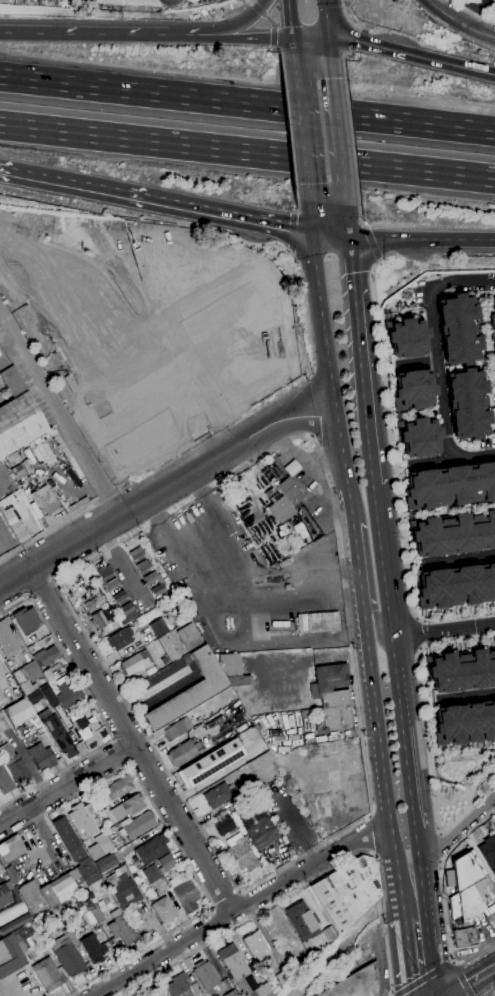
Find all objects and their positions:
road: (171, 1)
building: (125, 2)
road: (253, 2)
road: (258, 10)
road: (464, 10)
road: (473, 12)
road: (349, 19)
road: (270, 20)
road: (289, 20)
road: (326, 20)
road: (242, 21)
road: (459, 23)
road: (98, 36)
road: (207, 38)
road: (273, 38)
road: (254, 39)
road: (352, 39)
road: (310, 40)
traffic signals: (329, 40)
traffic signals: (292, 41)
road: (292, 47)
road: (330, 48)
road: (277, 49)
road: (344, 53)
road: (412, 57)
road: (294, 67)
road: (247, 104)
road: (289, 125)
road: (339, 131)
road: (349, 132)
road: (301, 141)
road: (247, 151)
road: (156, 202)
road: (297, 207)
road: (310, 218)
road: (358, 219)
road: (350, 223)
road: (365, 226)
road: (290, 231)
traffic signals: (313, 236)
road: (332, 238)
traffic signals: (352, 241)
road: (423, 241)
road: (371, 242)
road: (378, 259)
road: (268, 278)
building: (494, 300)
road: (202, 304)
building: (279, 309)
building: (219, 310)
building: (491, 316)
building: (88, 317)
road: (177, 319)
building: (458, 330)
building: (406, 337)
road: (8, 341)
road: (437, 342)
building: (492, 343)
road: (232, 349)
road: (367, 364)
road: (413, 364)
building: (244, 369)
building: (494, 371)
road: (331, 373)
building: (13, 382)
road: (207, 383)
building: (412, 390)
building: (467, 404)
road: (176, 408)
building: (215, 410)
road: (58, 411)
building: (19, 424)
road: (387, 430)
building: (418, 437)
road: (213, 440)
building: (141, 445)
road: (473, 458)
building: (147, 459)
road: (428, 464)
road: (130, 467)
building: (292, 468)
building: (18, 472)
building: (450, 485)
road: (165, 490)
building: (270, 491)
building: (45, 500)
building: (284, 501)
road: (208, 507)
building: (453, 534)
road: (355, 555)
building: (135, 557)
road: (453, 561)
road: (392, 562)
building: (114, 580)
building: (149, 581)
building: (456, 586)
road: (43, 588)
road: (234, 588)
building: (94, 603)
building: (129, 604)
building: (129, 617)
building: (102, 619)
building: (26, 620)
building: (318, 622)
road: (378, 622)
building: (159, 626)
road: (448, 630)
road: (416, 634)
building: (189, 637)
building: (120, 638)
building: (7, 641)
road: (280, 642)
building: (46, 656)
building: (135, 662)
building: (230, 664)
building: (461, 671)
building: (28, 676)
road: (406, 680)
building: (191, 690)
building: (69, 694)
building: (49, 695)
building: (35, 696)
road: (465, 697)
building: (330, 699)
road: (96, 710)
building: (19, 712)
building: (464, 723)
building: (88, 729)
building: (173, 729)
road: (362, 734)
building: (60, 735)
road: (134, 736)
road: (121, 752)
building: (181, 752)
road: (381, 753)
building: (42, 756)
building: (212, 762)
road: (429, 764)
building: (14, 766)
road: (493, 771)
building: (5, 781)
road: (69, 785)
building: (250, 785)
building: (118, 788)
road: (418, 794)
building: (218, 795)
building: (128, 807)
building: (80, 819)
building: (494, 823)
building: (139, 825)
building: (222, 825)
road: (460, 831)
building: (262, 833)
road: (177, 845)
building: (100, 846)
building: (11, 849)
building: (152, 849)
building: (488, 851)
building: (243, 855)
building: (106, 862)
building: (166, 863)
building: (83, 871)
building: (465, 871)
building: (12, 874)
building: (151, 874)
road: (306, 884)
building: (123, 890)
building: (348, 892)
building: (184, 893)
building: (8, 894)
building: (86, 894)
road: (428, 895)
building: (77, 896)
road: (443, 898)
building: (464, 904)
road: (238, 906)
building: (164, 910)
building: (96, 913)
building: (302, 920)
building: (491, 921)
building: (122, 930)
building: (330, 933)
building: (464, 937)
building: (93, 948)
building: (257, 948)
building: (67, 951)
road: (406, 954)
building: (10, 956)
road: (435, 960)
road: (452, 961)
road: (439, 969)
building: (241, 972)
building: (46, 974)
building: (205, 976)
building: (284, 977)
road: (473, 982)
building: (357, 984)
building: (179, 986)
building: (231, 993)
building: (151, 994)
building: (144, 995)
road: (493, 995)

